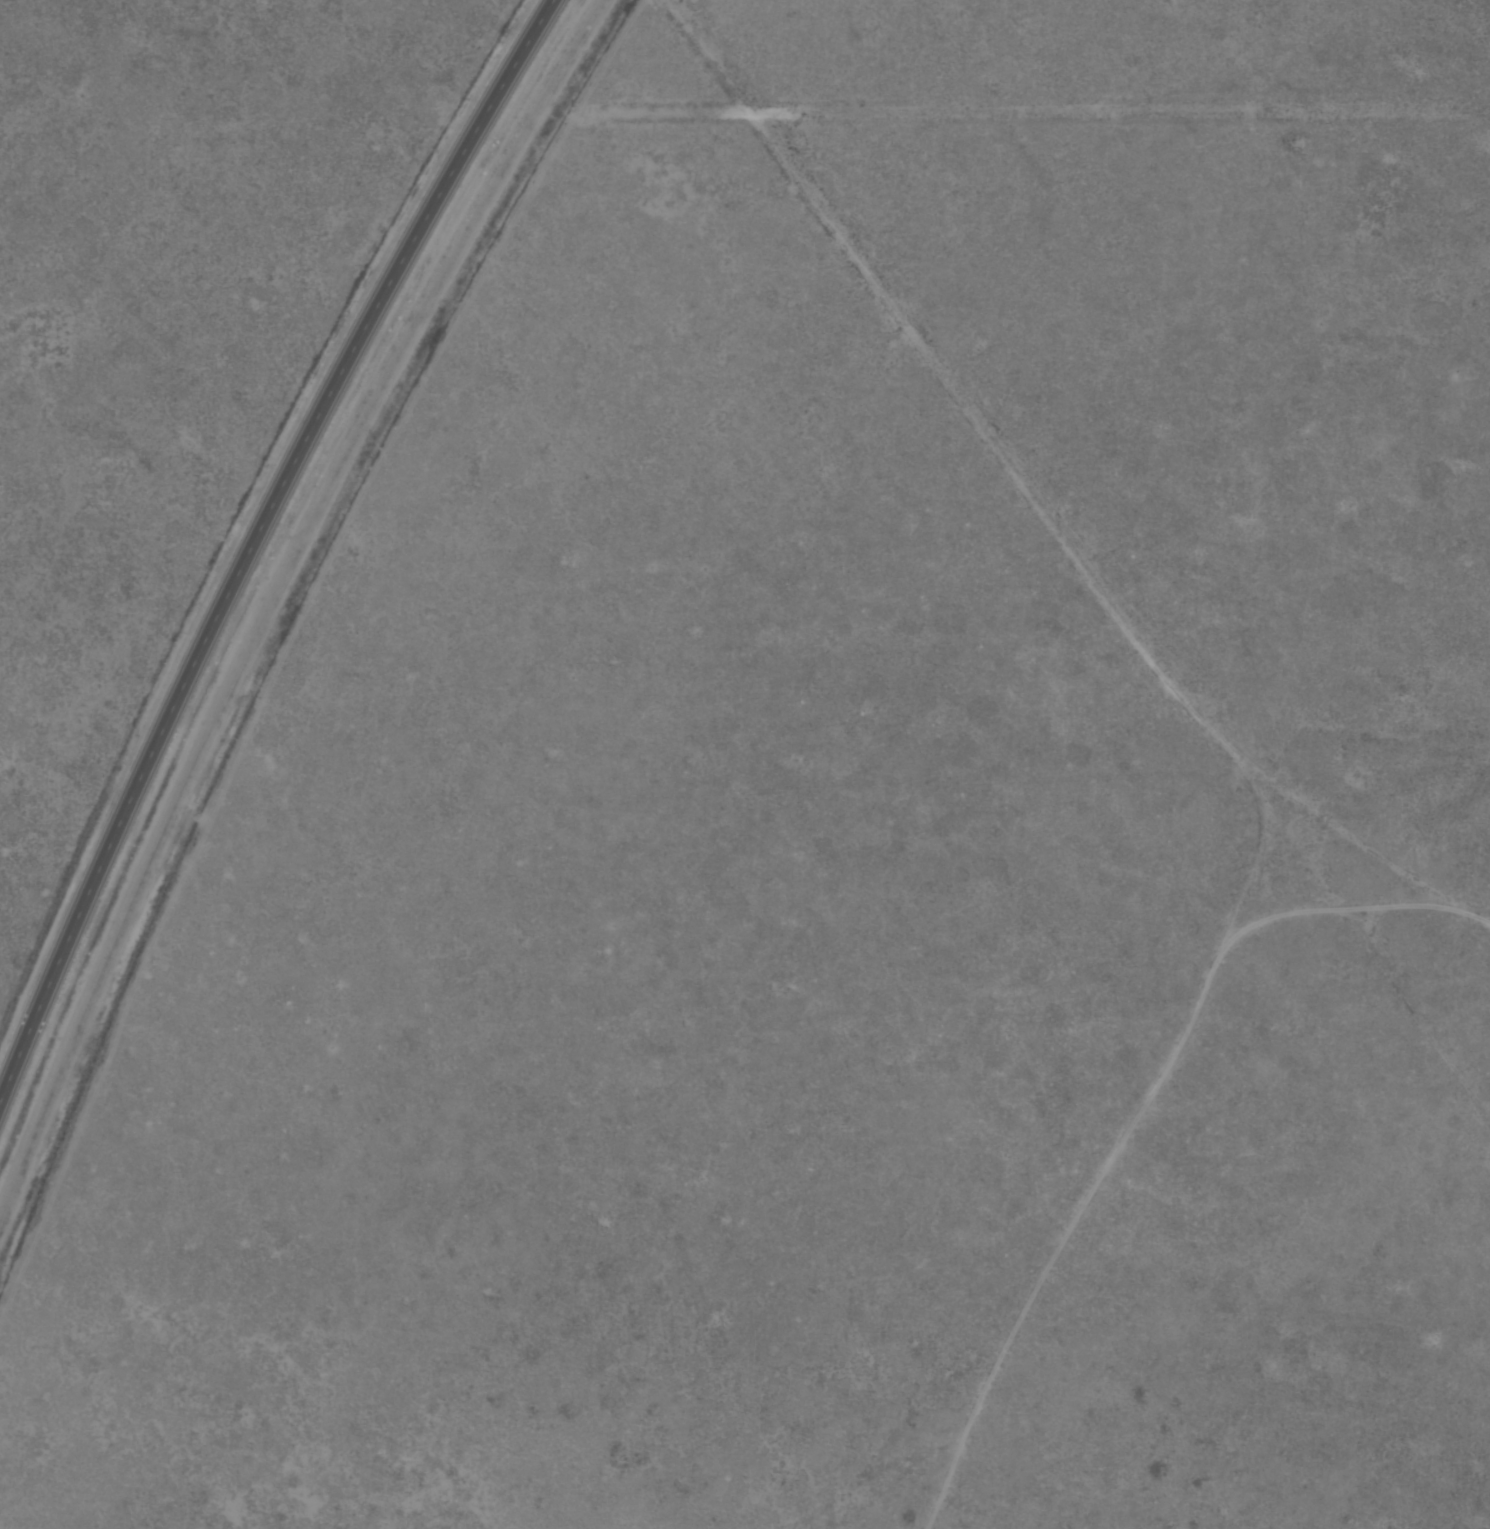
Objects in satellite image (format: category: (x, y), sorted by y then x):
road: (247, 524)

